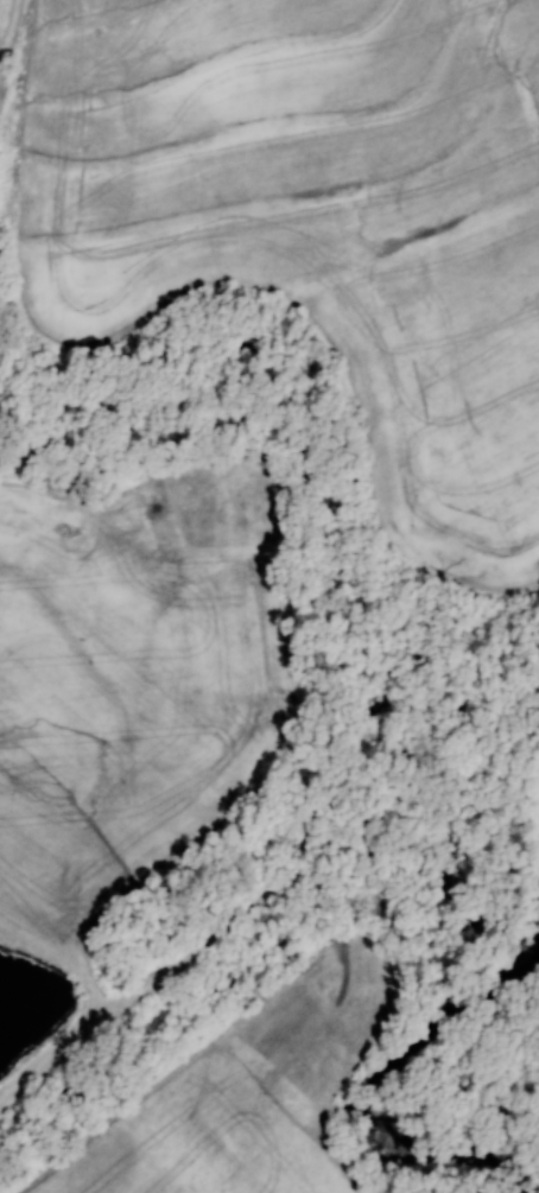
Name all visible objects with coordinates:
river: (364, 1096)

